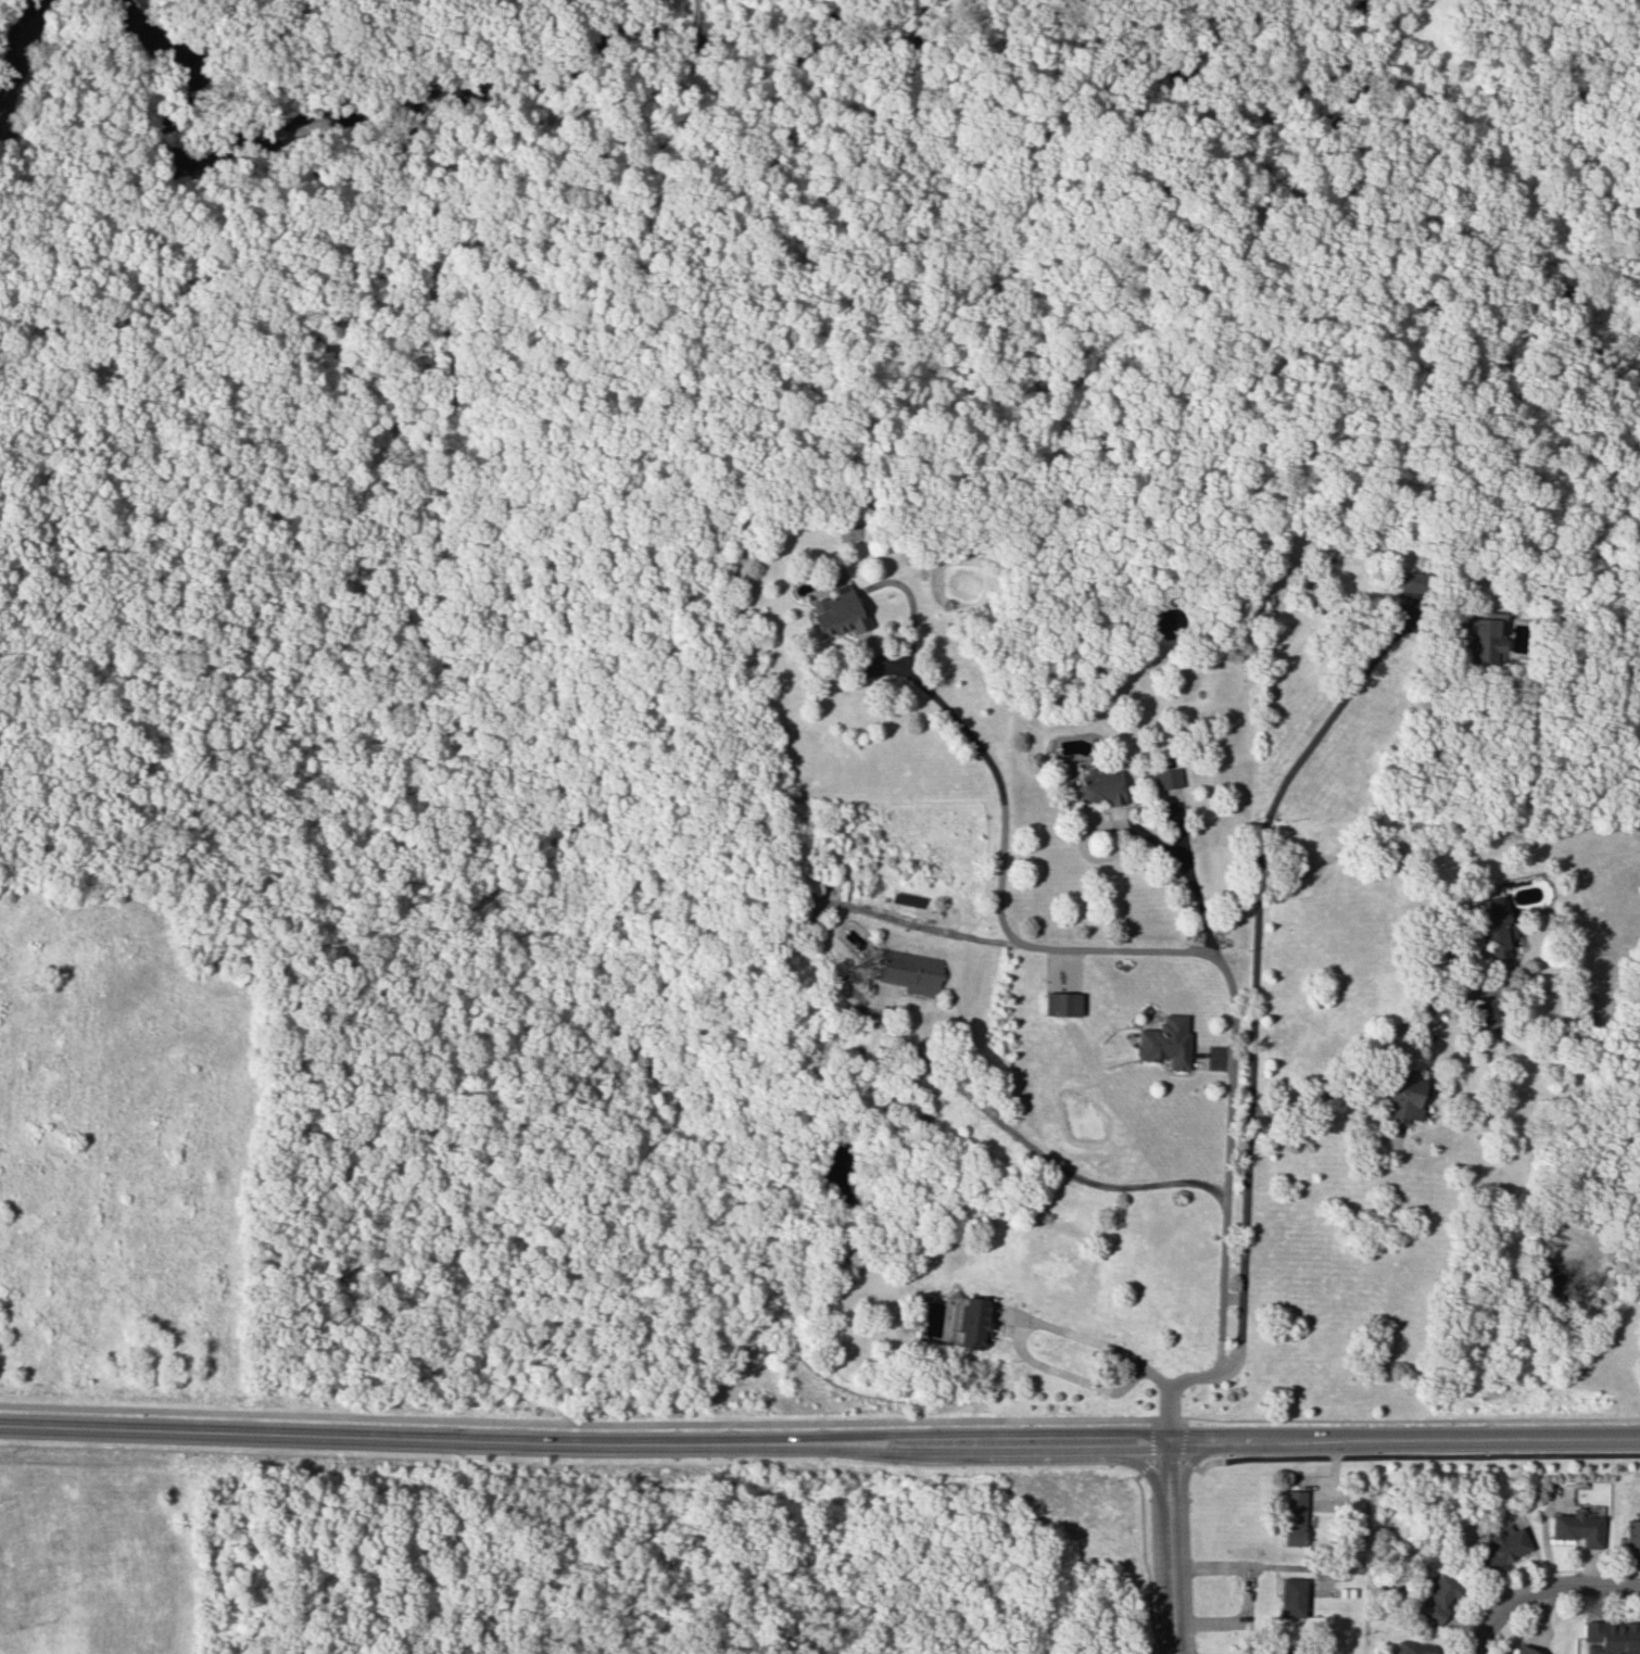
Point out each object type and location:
road: (694, 15)
road: (446, 406)
building: (1412, 581)
building: (838, 615)
building: (1483, 637)
road: (1303, 753)
road: (991, 762)
building: (1166, 778)
building: (1101, 787)
building: (815, 873)
road: (1187, 875)
building: (1491, 927)
building: (909, 971)
park: (373, 985)
building: (1061, 1003)
building: (1484, 1011)
road: (1234, 1038)
building: (1165, 1040)
road: (906, 1048)
road: (1346, 1079)
building: (1403, 1098)
road: (1247, 1147)
building: (972, 1323)
road: (1018, 1325)
road: (1172, 1392)
road: (1396, 1421)
road: (576, 1425)
road: (588, 1425)
road: (1095, 1425)
road: (914, 1426)
road: (407, 1436)
road: (1404, 1436)
road: (1183, 1445)
road: (993, 1448)
road: (1153, 1449)
road: (1193, 1456)
road: (1417, 1459)
road: (1140, 1464)
building: (1294, 1517)
building: (1578, 1527)
building: (1632, 1535)
park: (577, 1537)
road: (1173, 1544)
road: (343, 1545)
building: (1504, 1545)
road: (1144, 1563)
road: (1540, 1589)
road: (1247, 1595)
building: (1291, 1596)
building: (1433, 1596)
building: (1614, 1636)
building: (1412, 1647)
building: (1524, 1650)
building: (1289, 1652)

